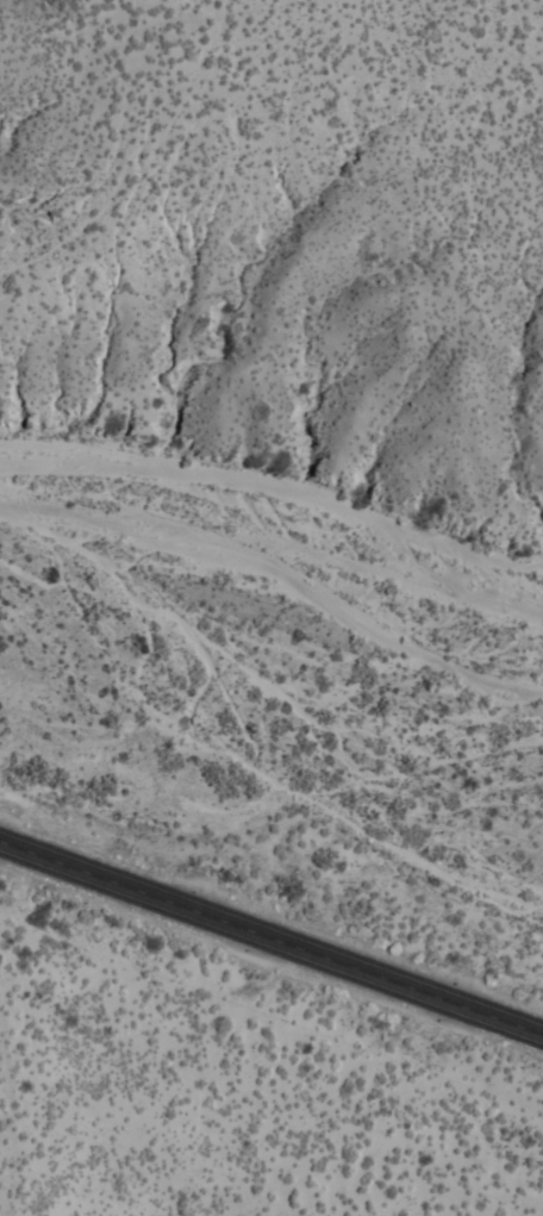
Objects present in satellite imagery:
road: (271, 937)

